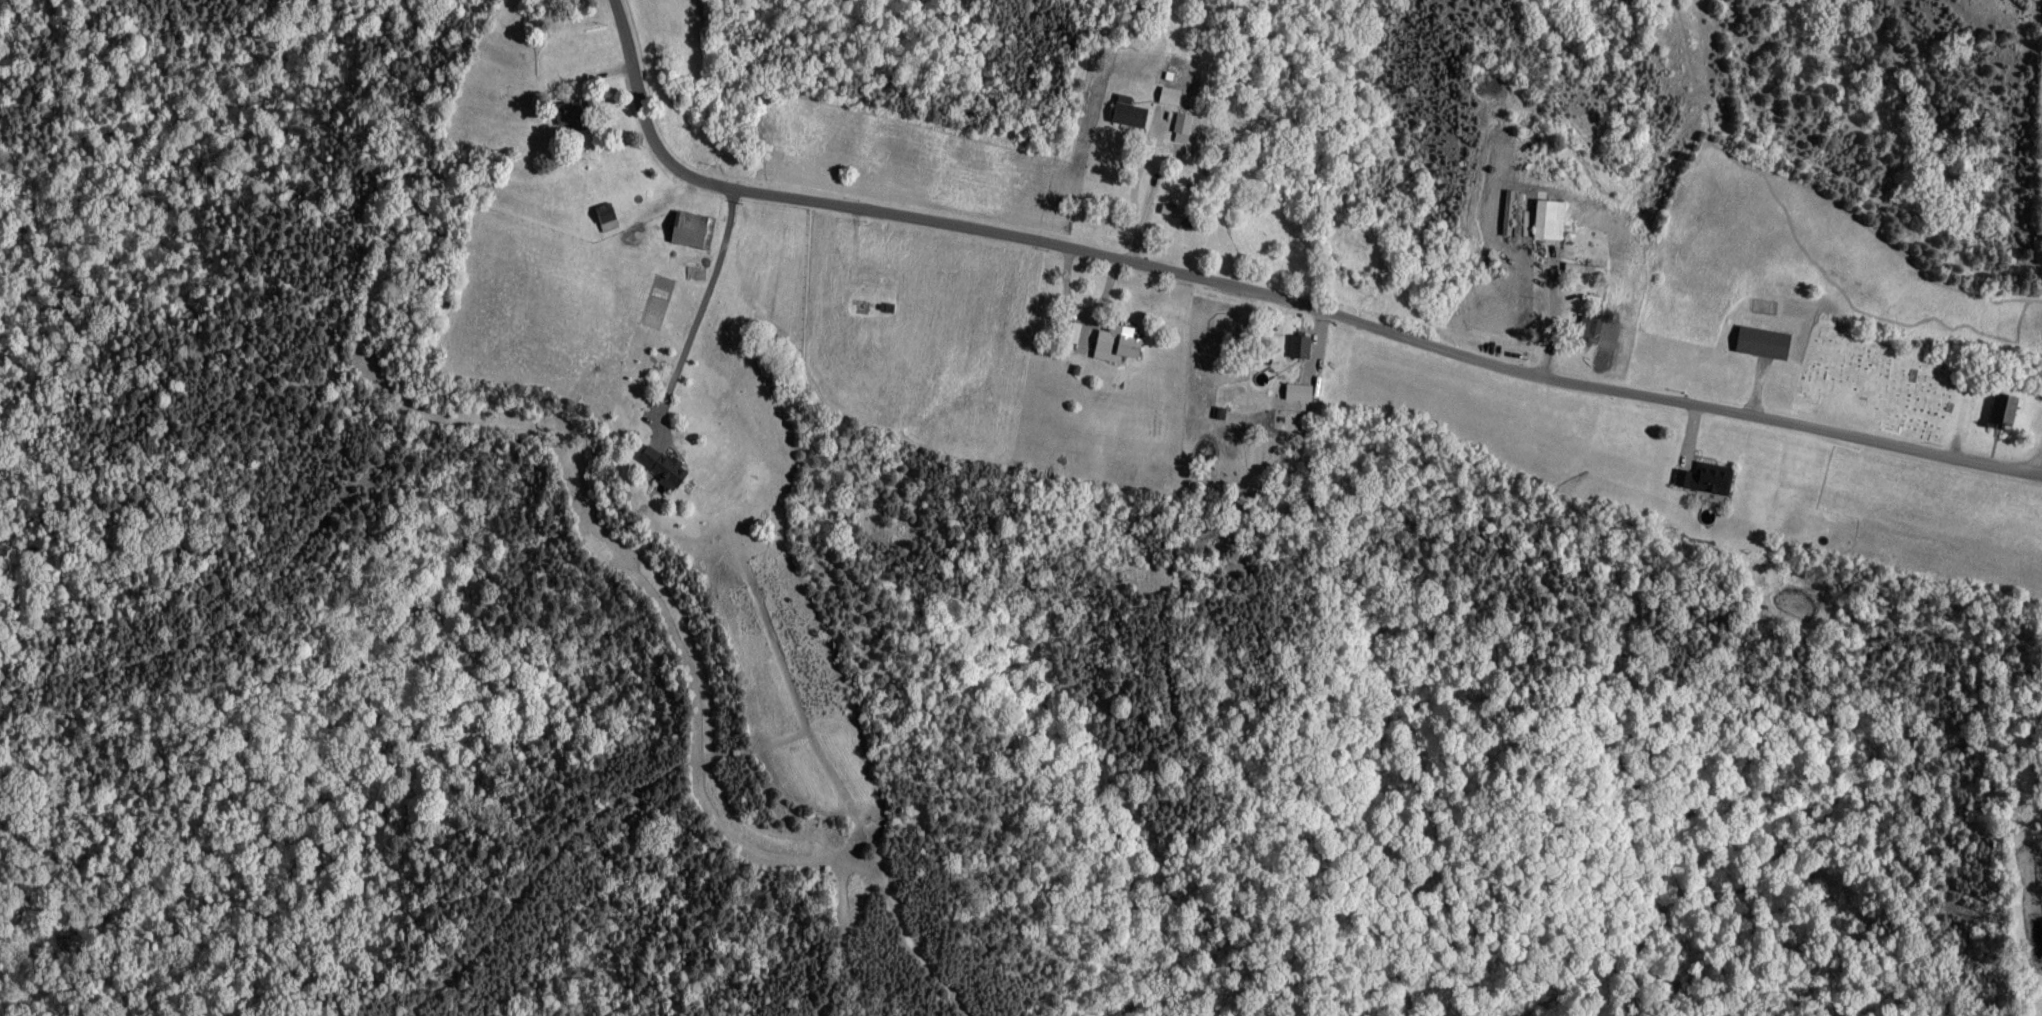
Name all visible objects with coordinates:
building: (1170, 96)
building: (1130, 114)
building: (1182, 128)
road: (1131, 190)
building: (606, 217)
building: (1551, 220)
building: (692, 230)
road: (1130, 264)
road: (1261, 306)
road: (697, 324)
building: (1589, 326)
road: (1549, 331)
building: (1764, 343)
building: (1119, 344)
building: (1300, 347)
building: (1299, 392)
building: (2004, 408)
building: (662, 465)
road: (2032, 472)
building: (1706, 478)

